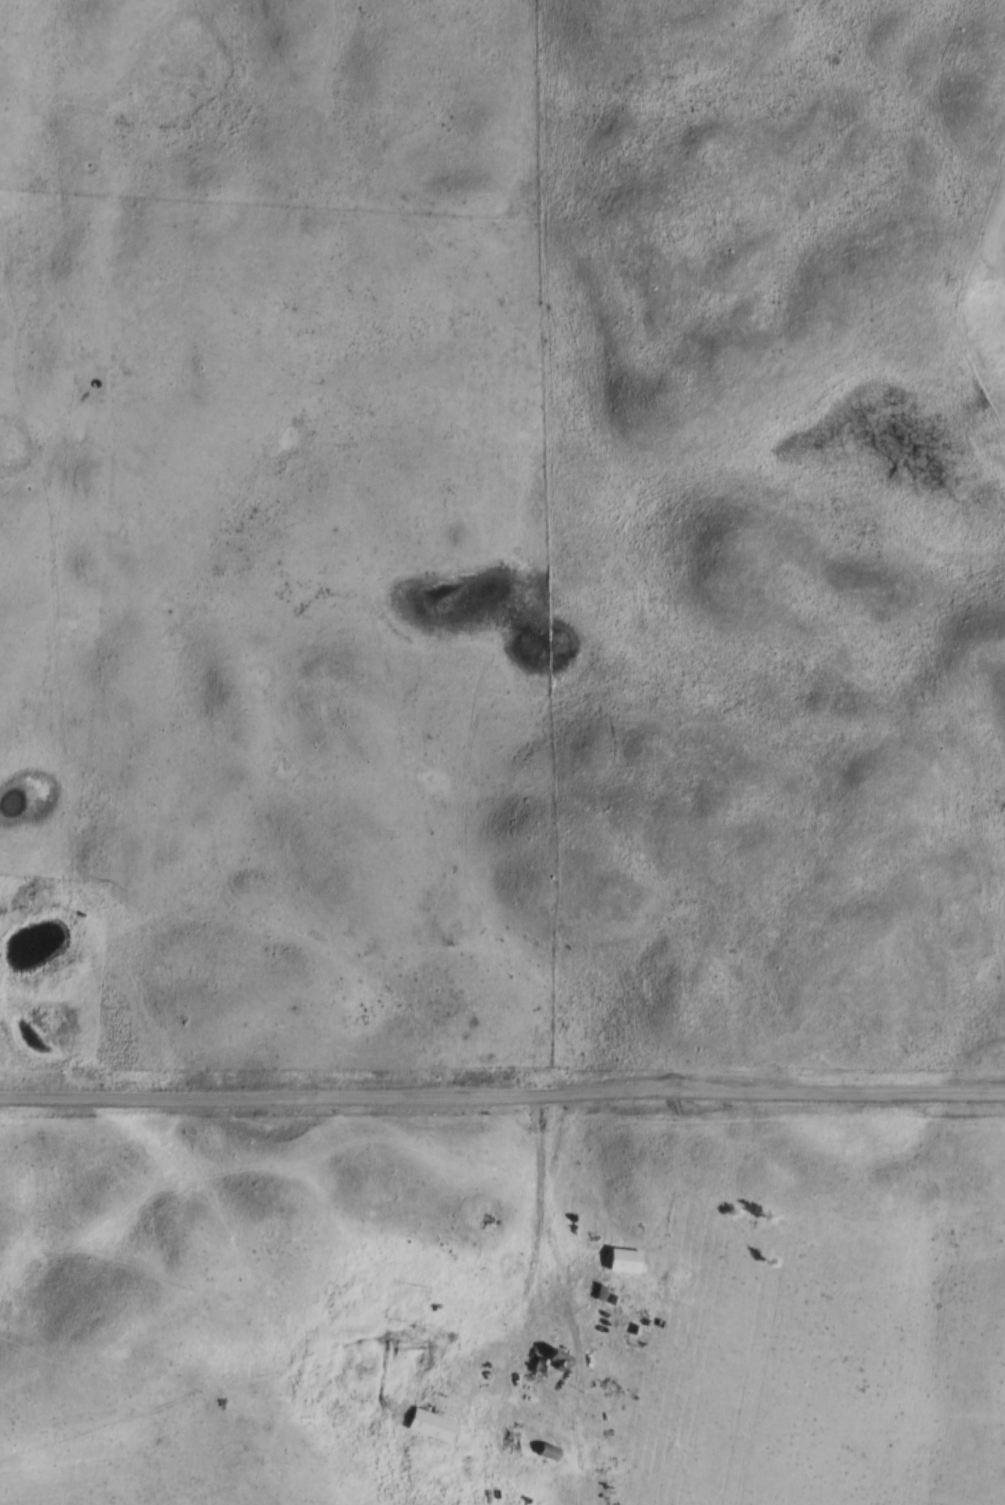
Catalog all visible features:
road: (502, 1098)
road: (550, 1154)
building: (625, 1261)
building: (555, 1363)
road: (526, 1402)
building: (430, 1426)
building: (548, 1453)

